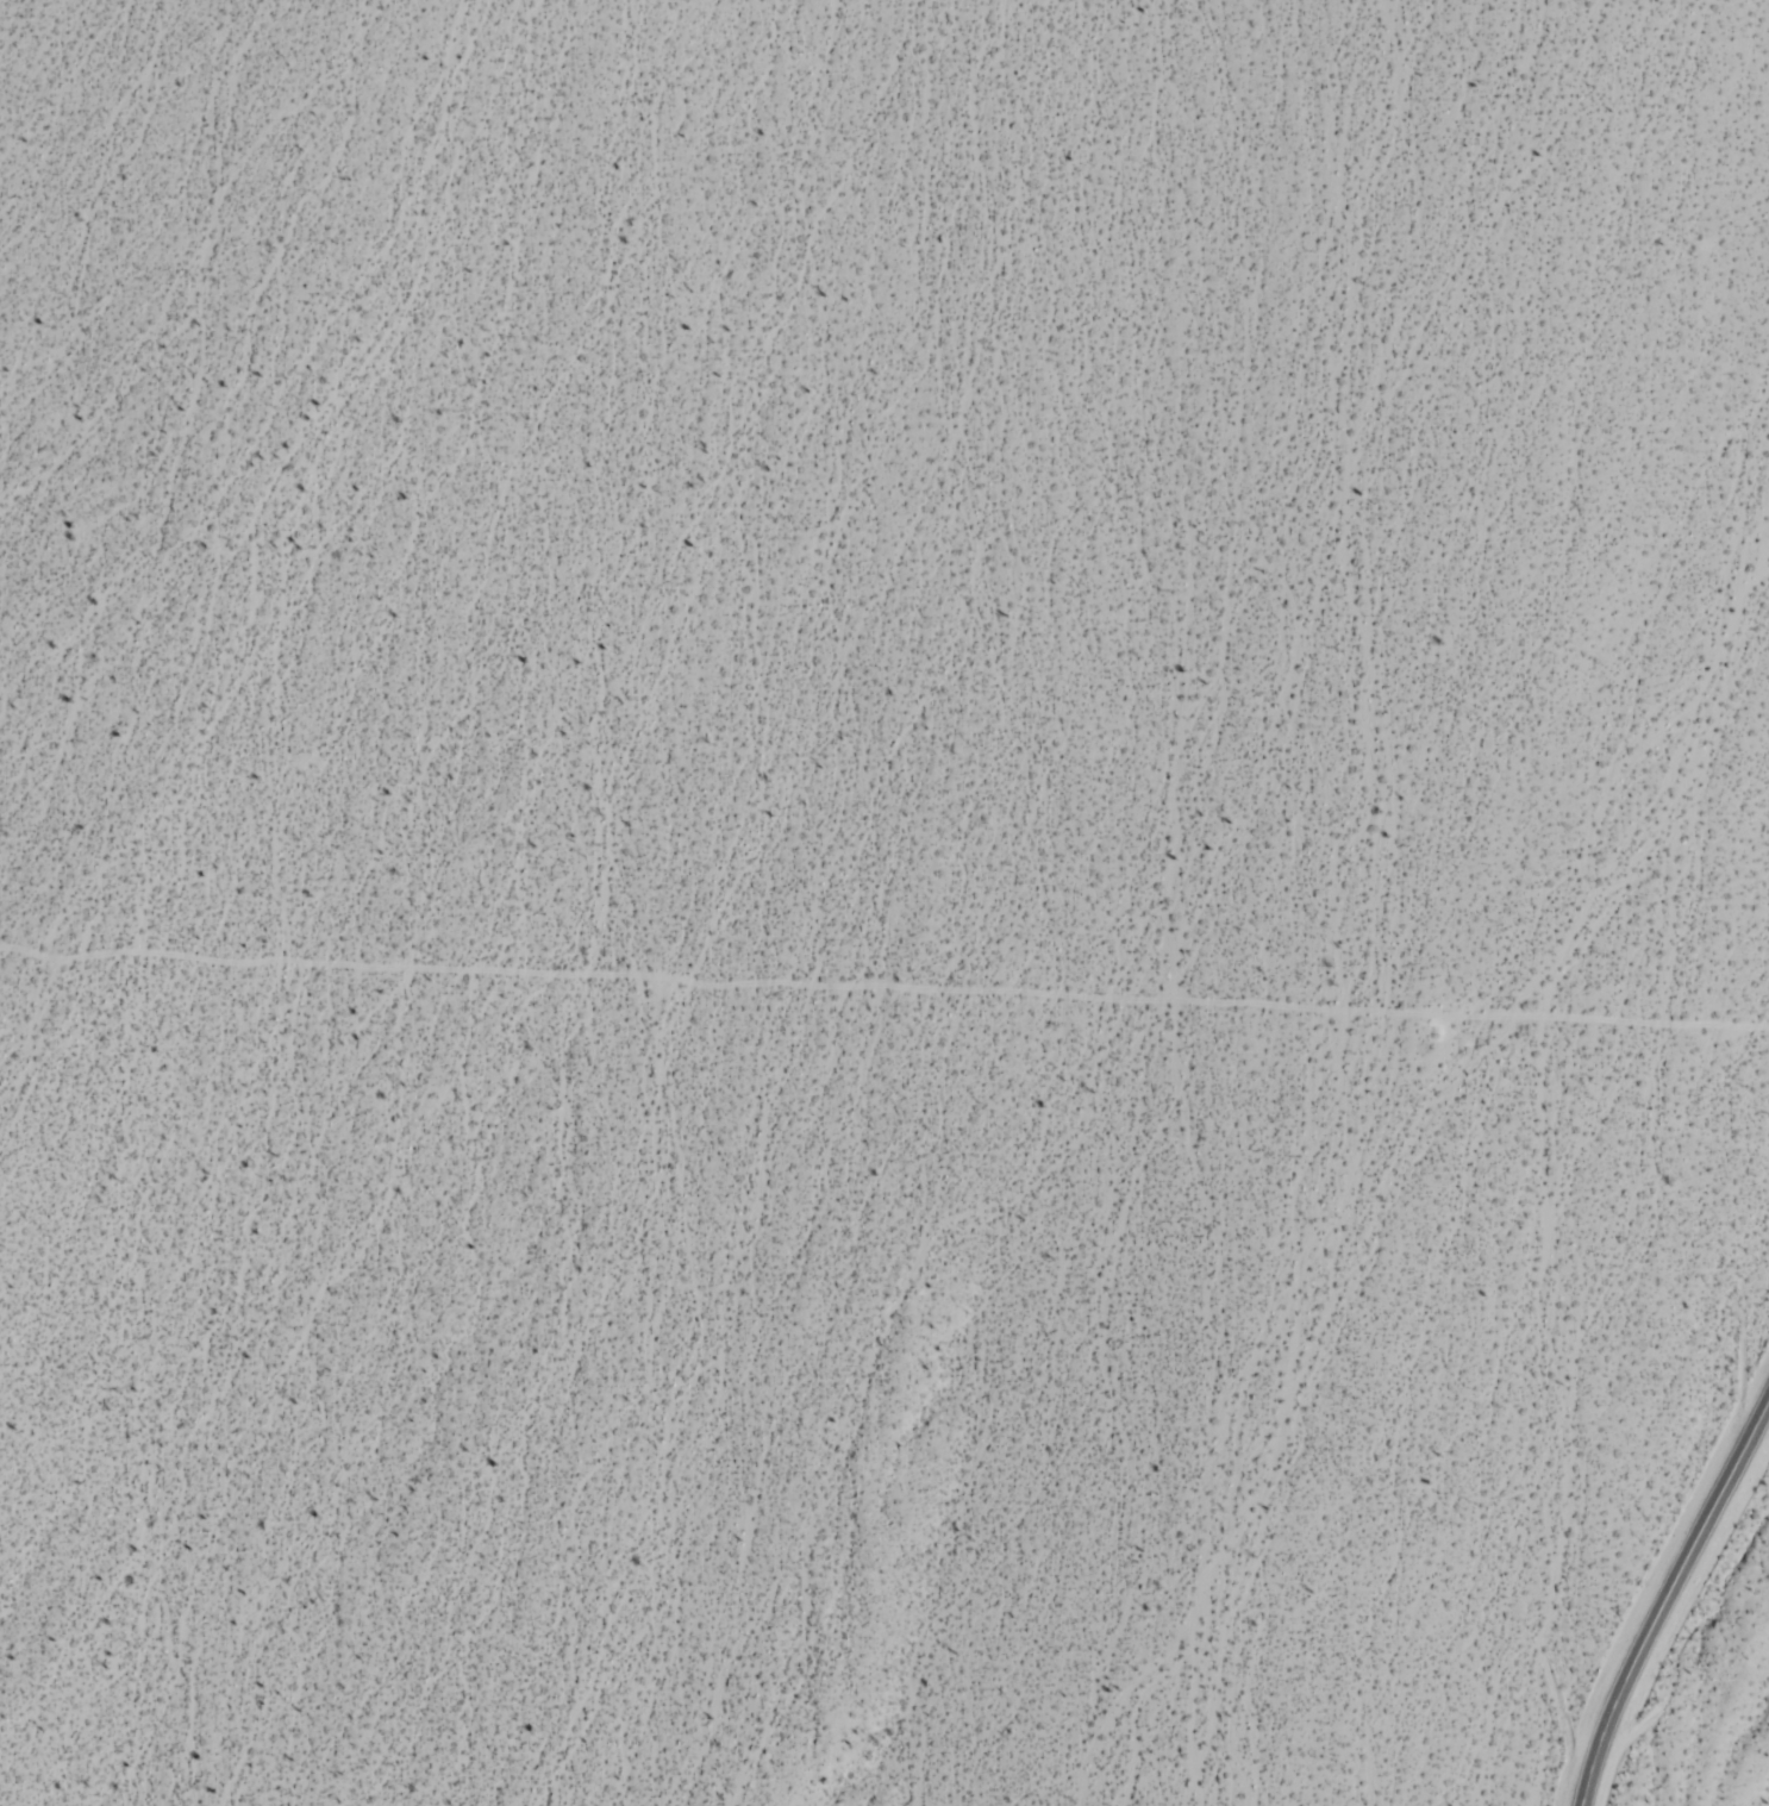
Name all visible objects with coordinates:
road: (1667, 1596)

